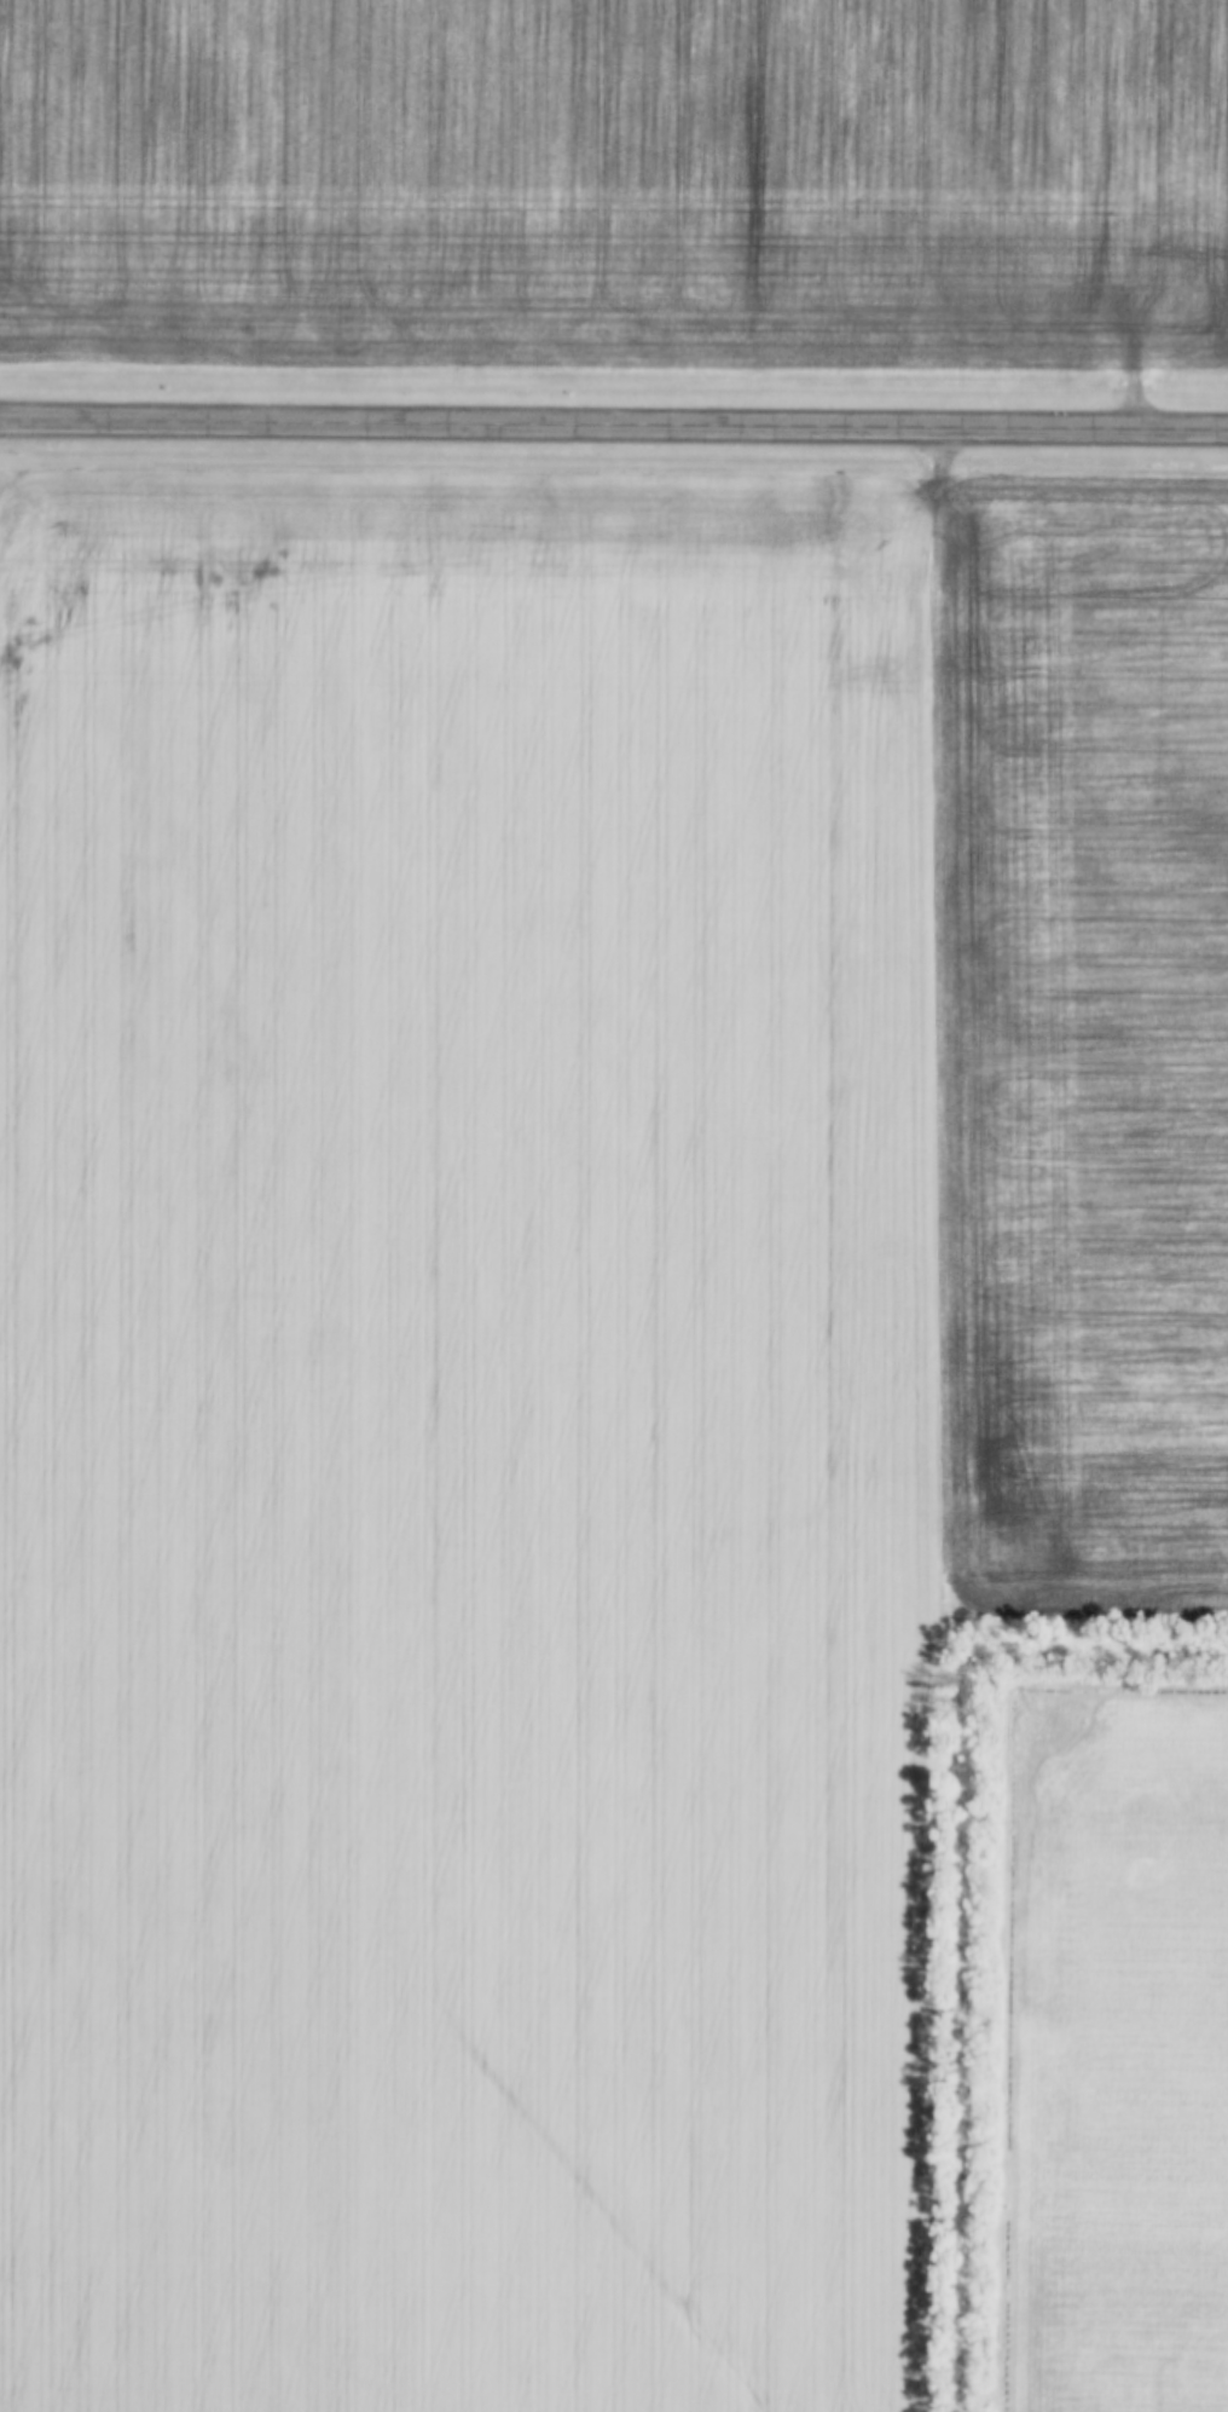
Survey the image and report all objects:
road: (614, 425)

